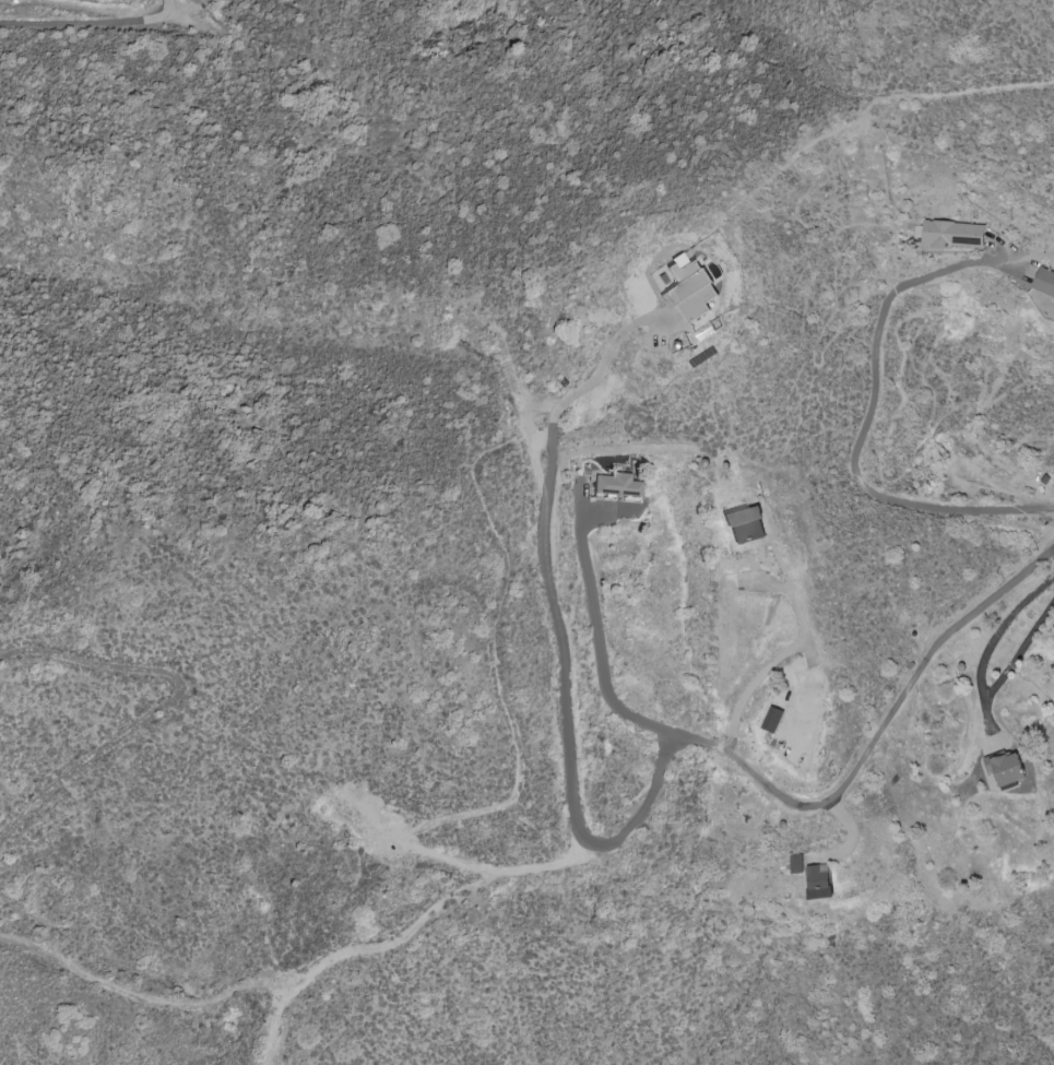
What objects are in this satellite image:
road: (51, 4)
road: (978, 169)
building: (949, 235)
building: (1043, 284)
building: (680, 291)
road: (868, 328)
building: (623, 486)
road: (979, 522)
building: (753, 524)
road: (998, 628)
road: (560, 631)
road: (791, 648)
road: (600, 649)
road: (1014, 661)
road: (913, 679)
building: (777, 714)
road: (737, 761)
building: (1011, 768)
building: (798, 863)
building: (824, 881)

